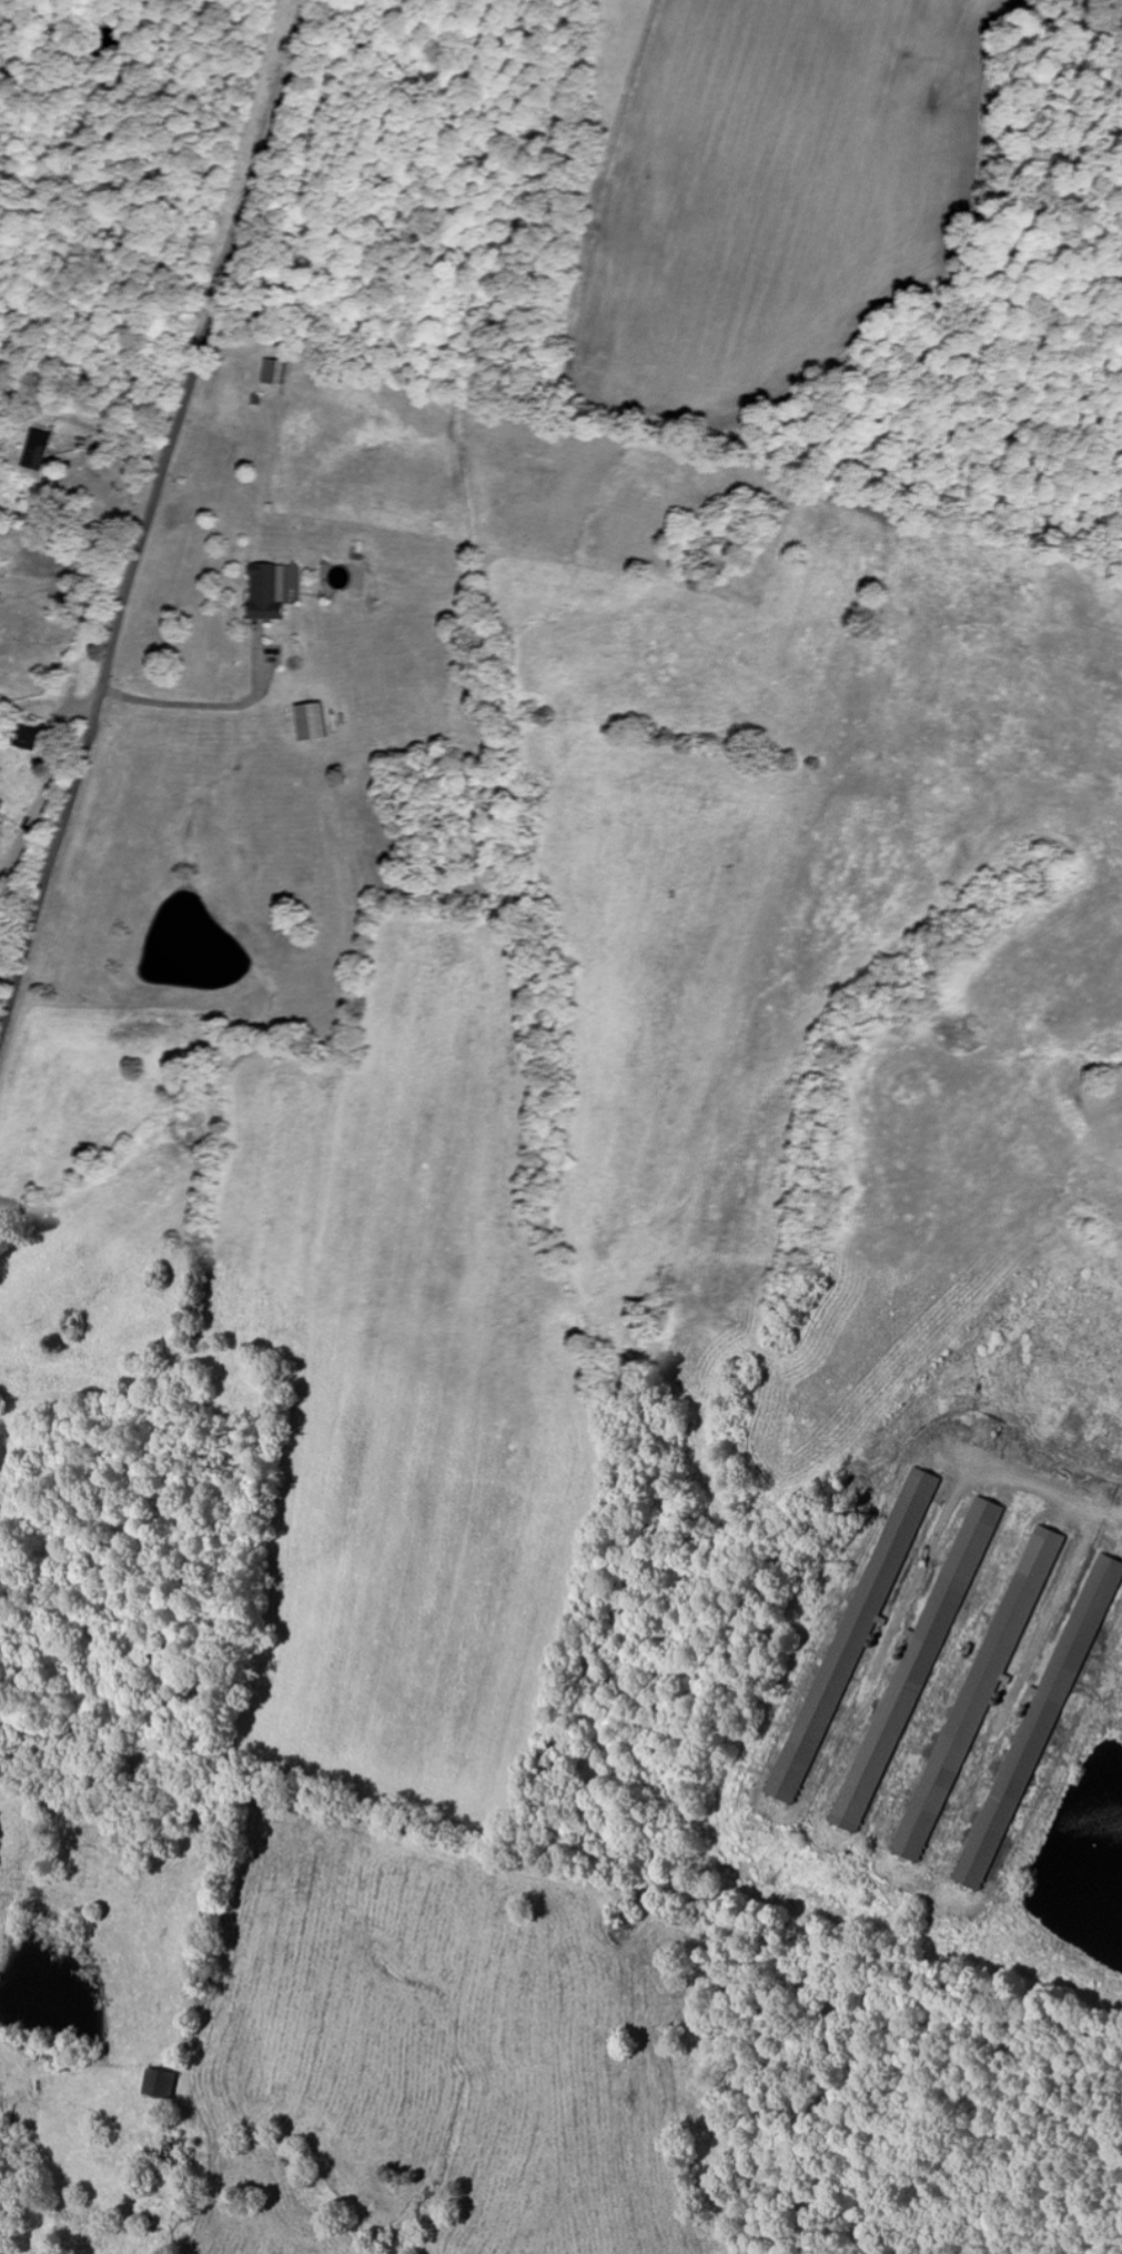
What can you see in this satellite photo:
building: (271, 372)
building: (36, 450)
road: (150, 520)
building: (265, 592)
road: (218, 710)
building: (306, 722)
building: (23, 737)
building: (0, 803)
building: (859, 1619)
building: (983, 1677)
building: (158, 2084)
road: (162, 2251)

